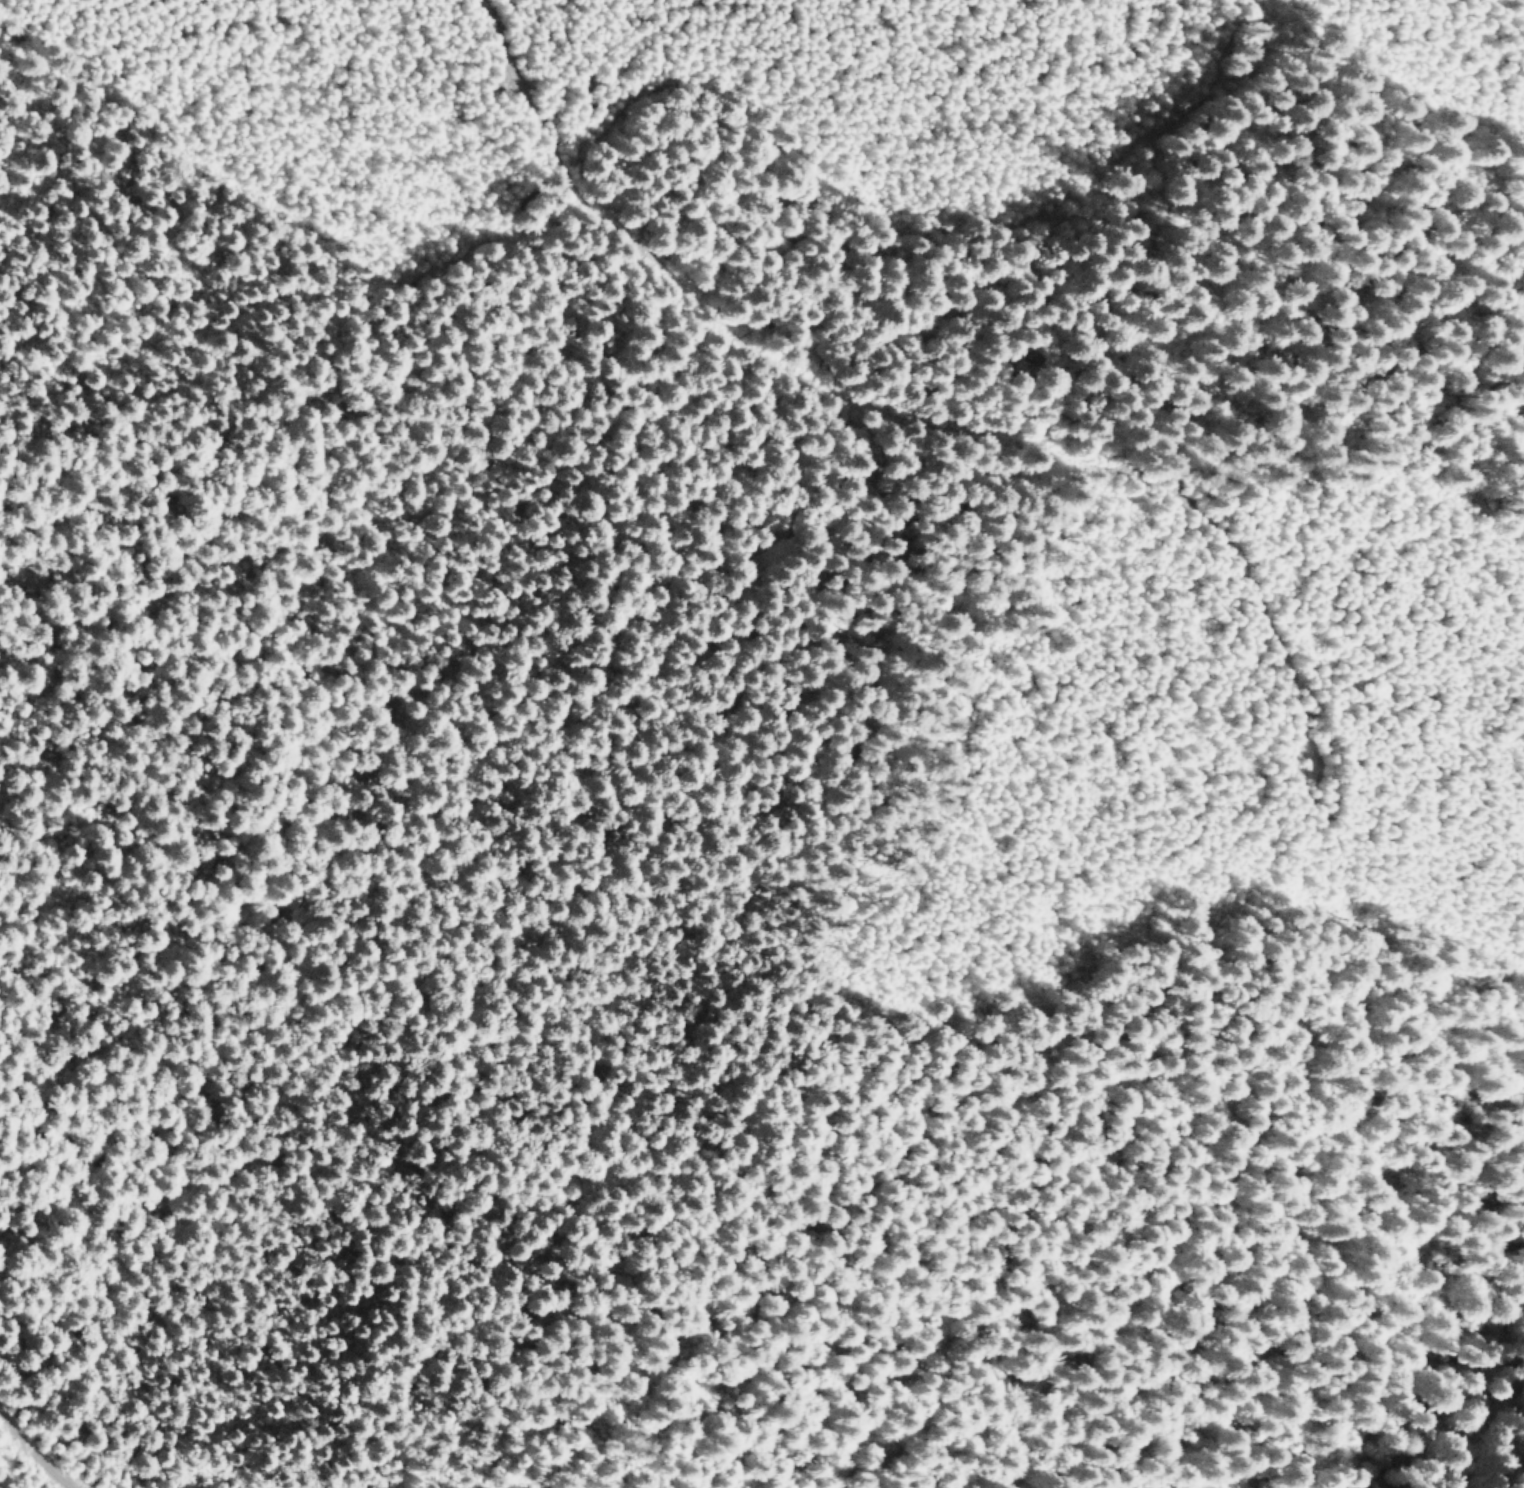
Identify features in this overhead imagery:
road: (39, 1443)

